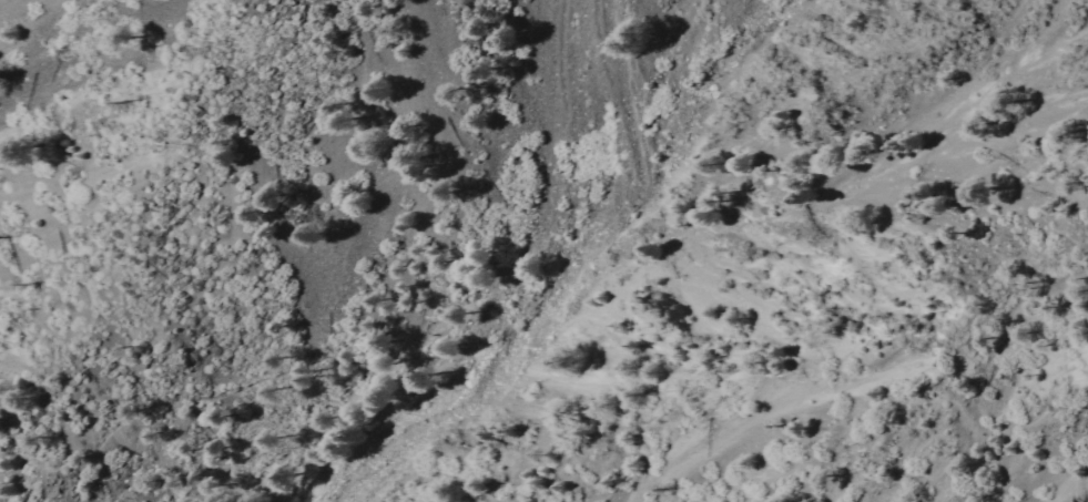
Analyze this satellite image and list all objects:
road: (268, 379)

